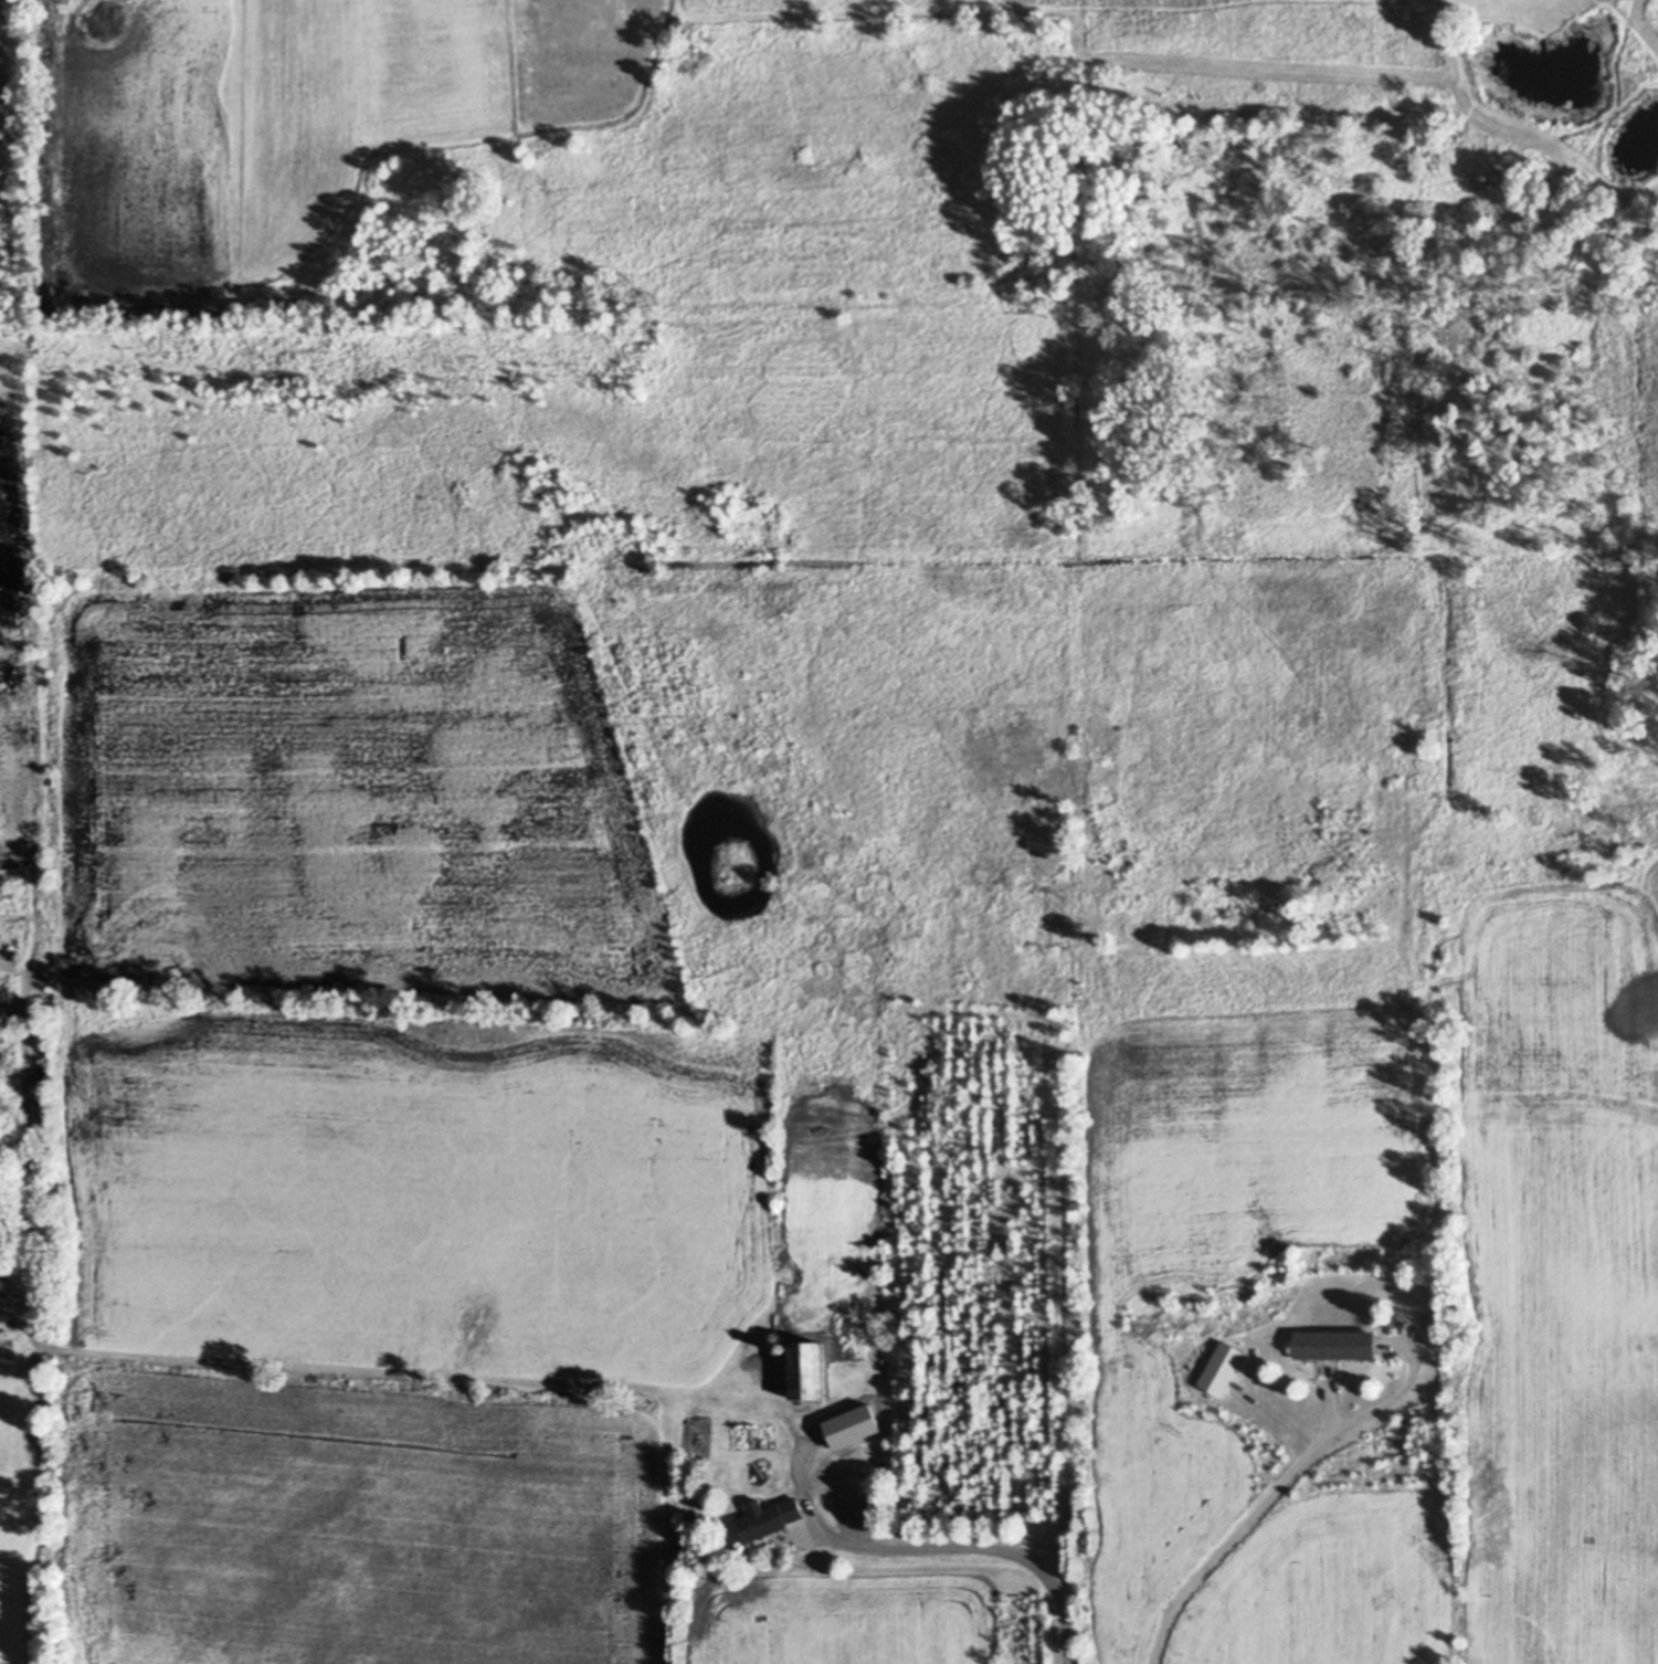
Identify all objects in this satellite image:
building: (1546, 41)
building: (613, 568)
building: (1441, 794)
building: (35, 1002)
building: (2, 1277)
building: (1335, 1345)
building: (783, 1348)
building: (1223, 1369)
building: (812, 1372)
building: (852, 1430)
building: (697, 1441)
building: (768, 1518)
road: (1240, 1536)
road: (973, 1548)

